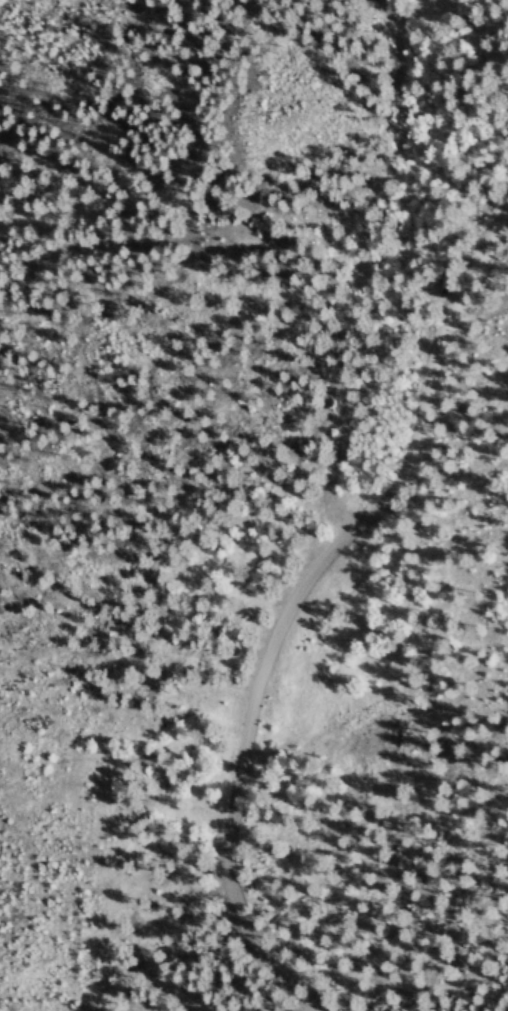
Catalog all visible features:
road: (301, 598)

